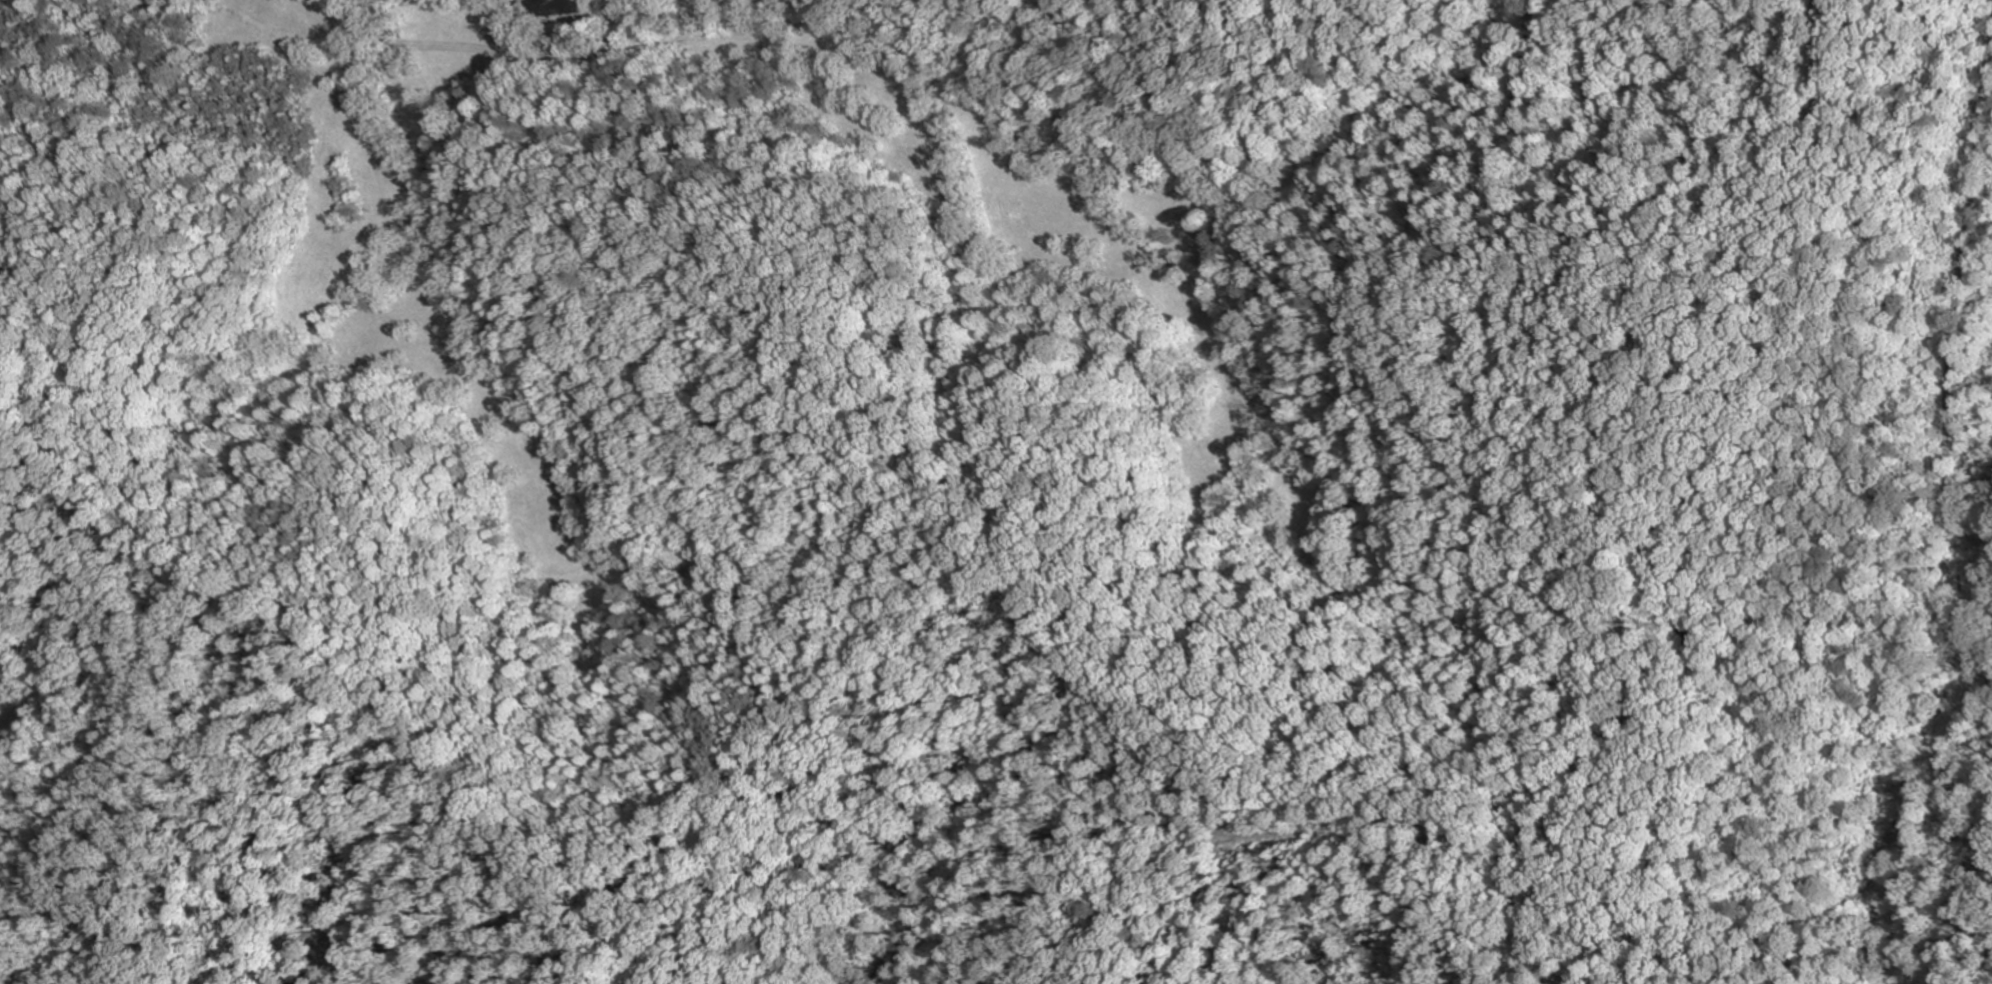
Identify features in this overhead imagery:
road: (1984, 118)

